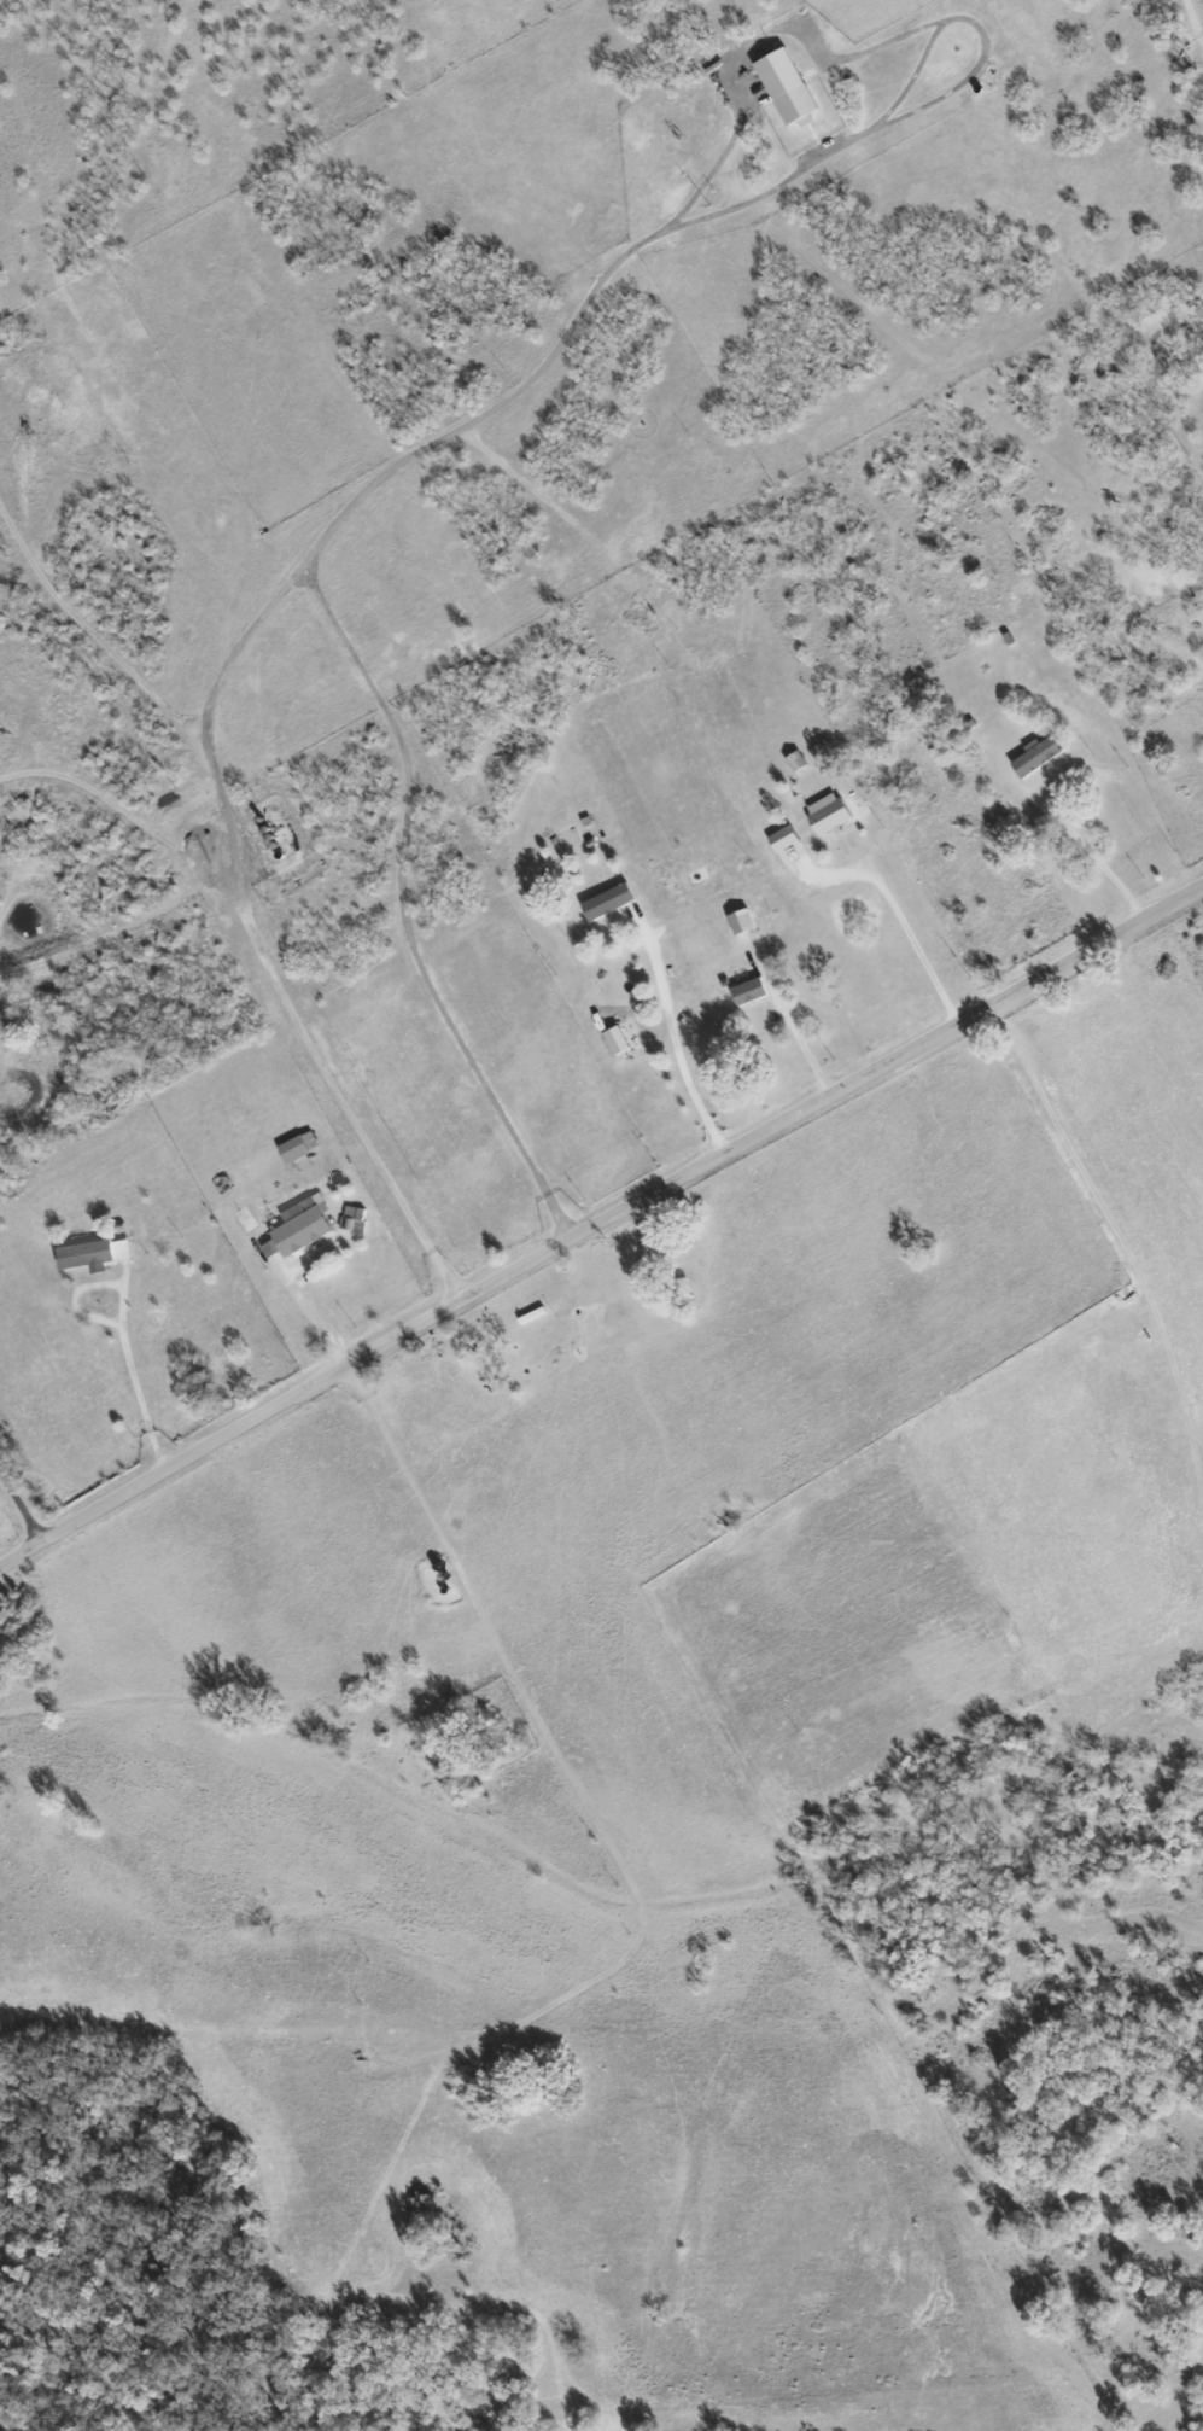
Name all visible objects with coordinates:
building: (781, 87)
road: (259, 620)
building: (1033, 756)
building: (824, 814)
building: (779, 839)
road: (1082, 849)
building: (605, 902)
building: (737, 921)
road: (899, 921)
building: (746, 991)
road: (792, 1024)
road: (673, 1037)
building: (612, 1040)
building: (290, 1149)
building: (350, 1215)
building: (296, 1228)
road: (600, 1228)
building: (92, 1255)
road: (313, 1318)
road: (121, 1323)
road: (21, 1502)

